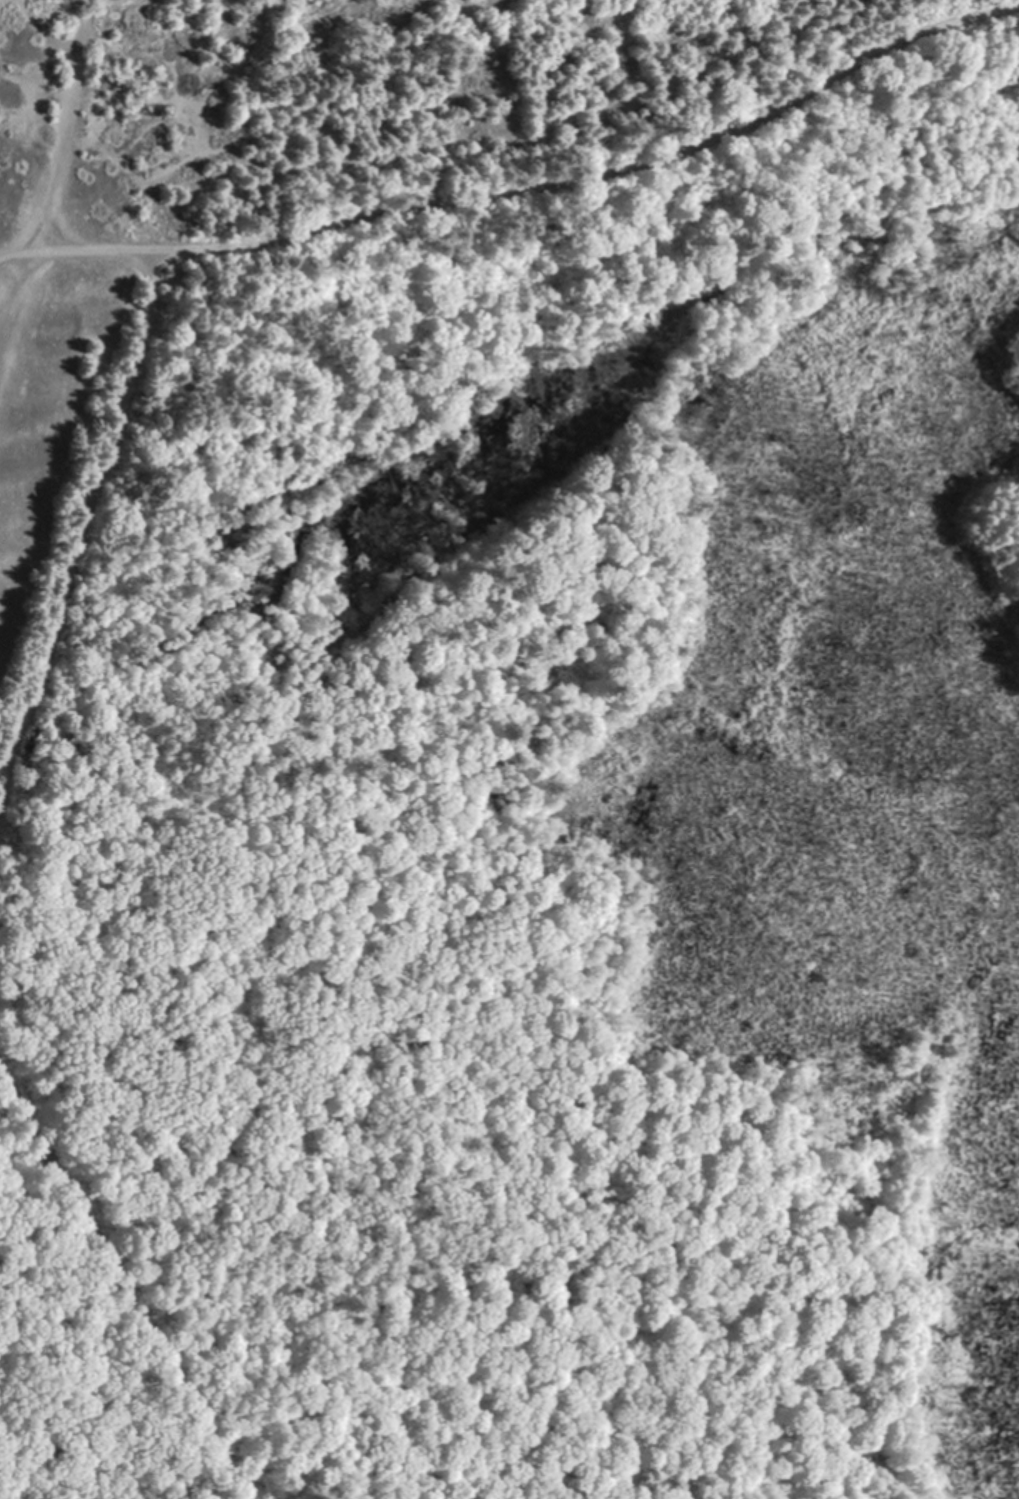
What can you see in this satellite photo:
road: (526, 195)
road: (3, 257)
airport runway: (15, 338)
airport: (54, 442)
road: (89, 538)
road: (122, 1282)

